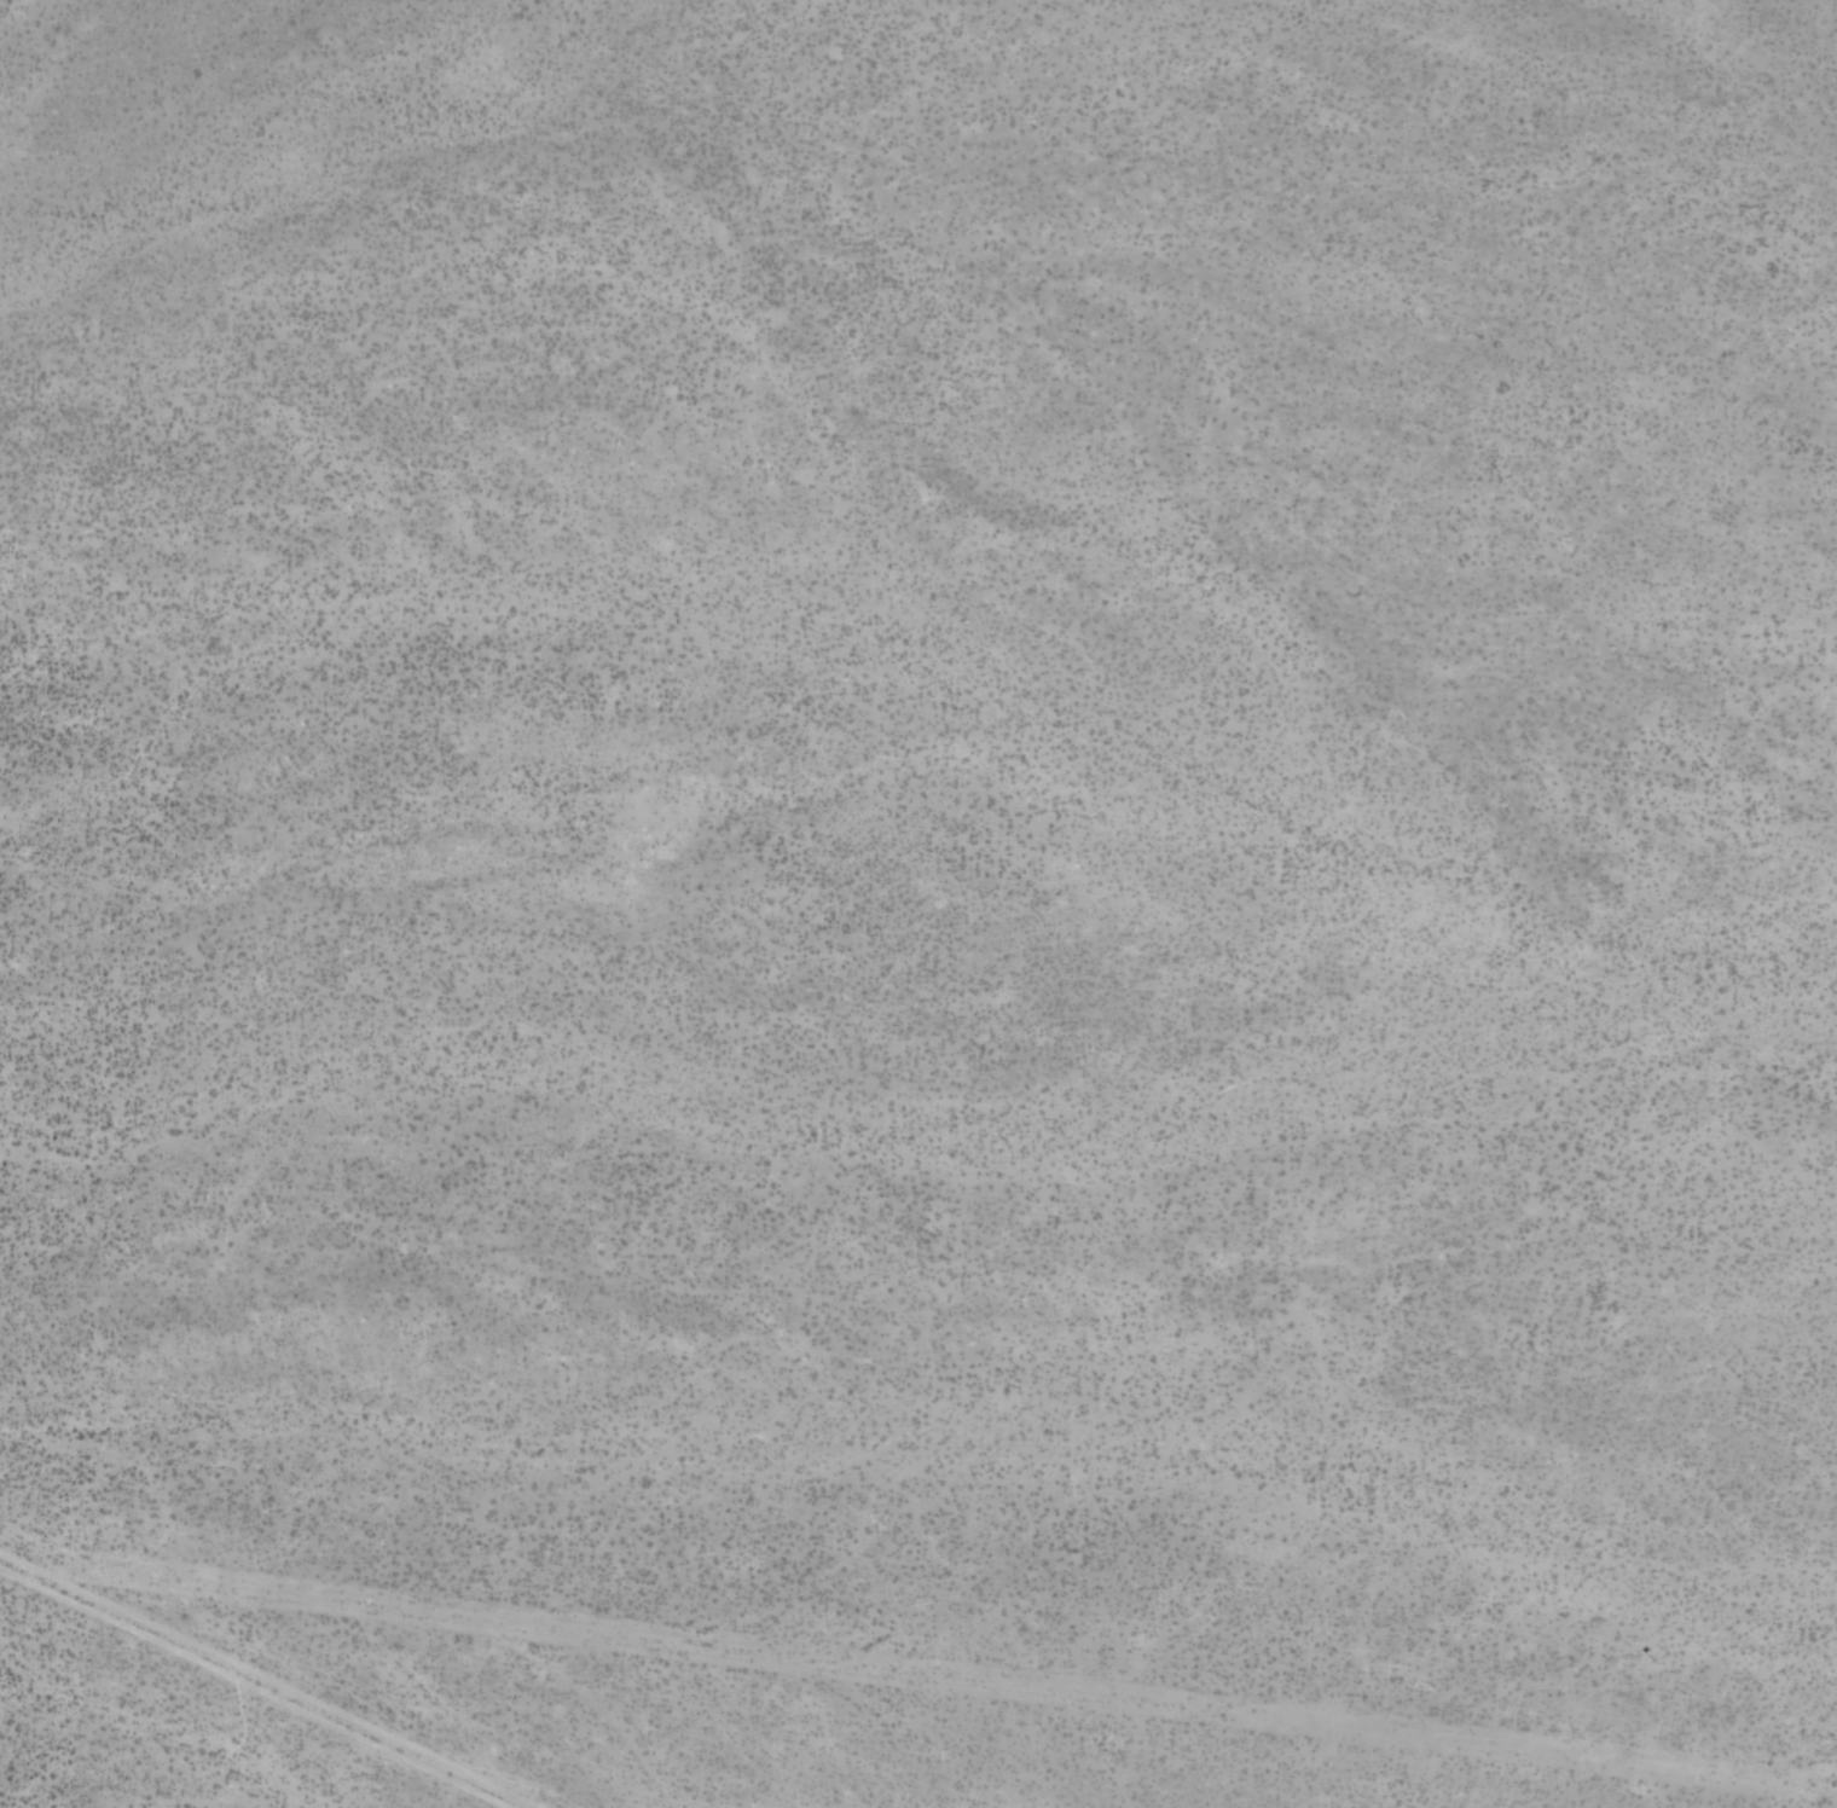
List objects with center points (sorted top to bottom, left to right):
airport runway: (933, 1677)

